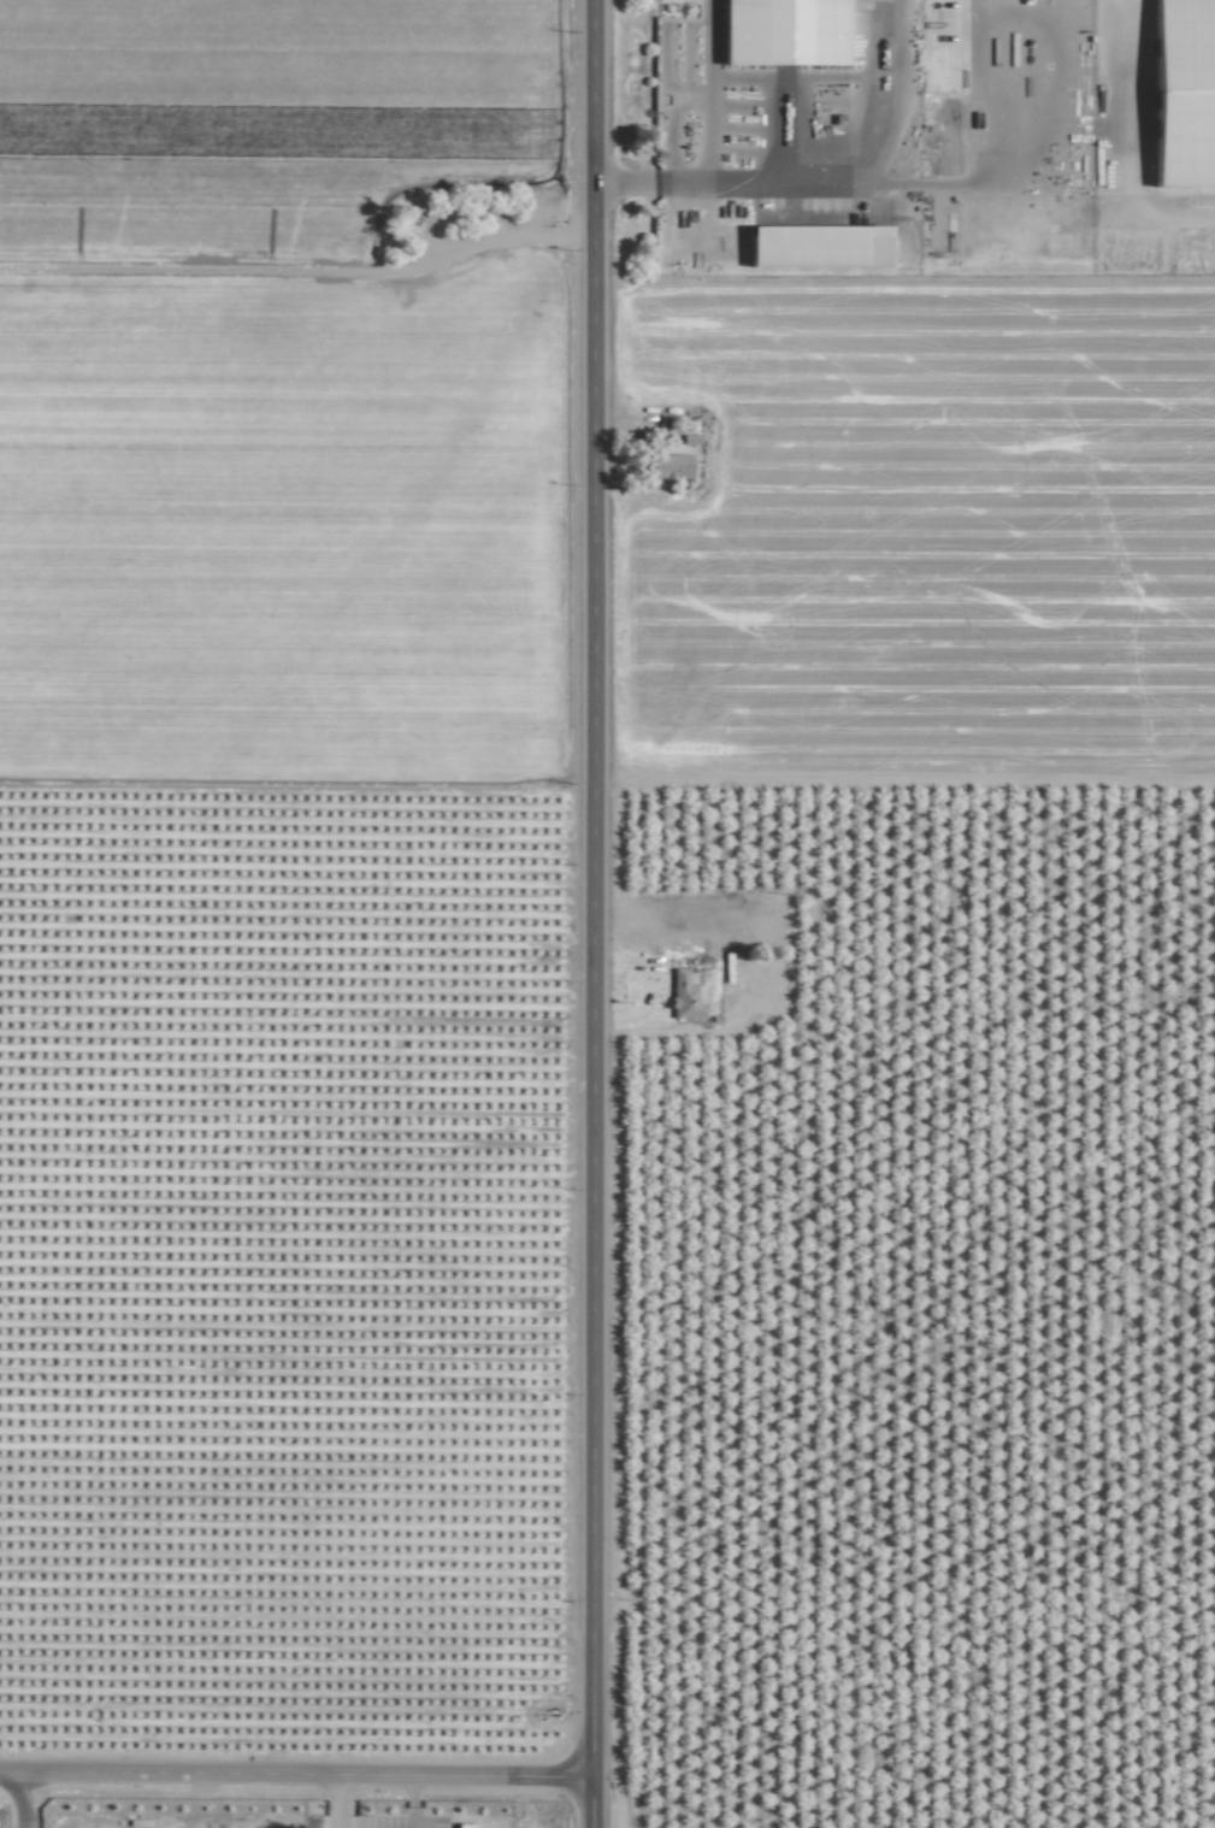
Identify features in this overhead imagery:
building: (779, 33)
building: (1181, 96)
road: (712, 148)
road: (860, 157)
building: (812, 246)
building: (670, 465)
road: (580, 914)
building: (684, 996)
road: (896, 1627)
road: (289, 1779)
building: (461, 1824)

